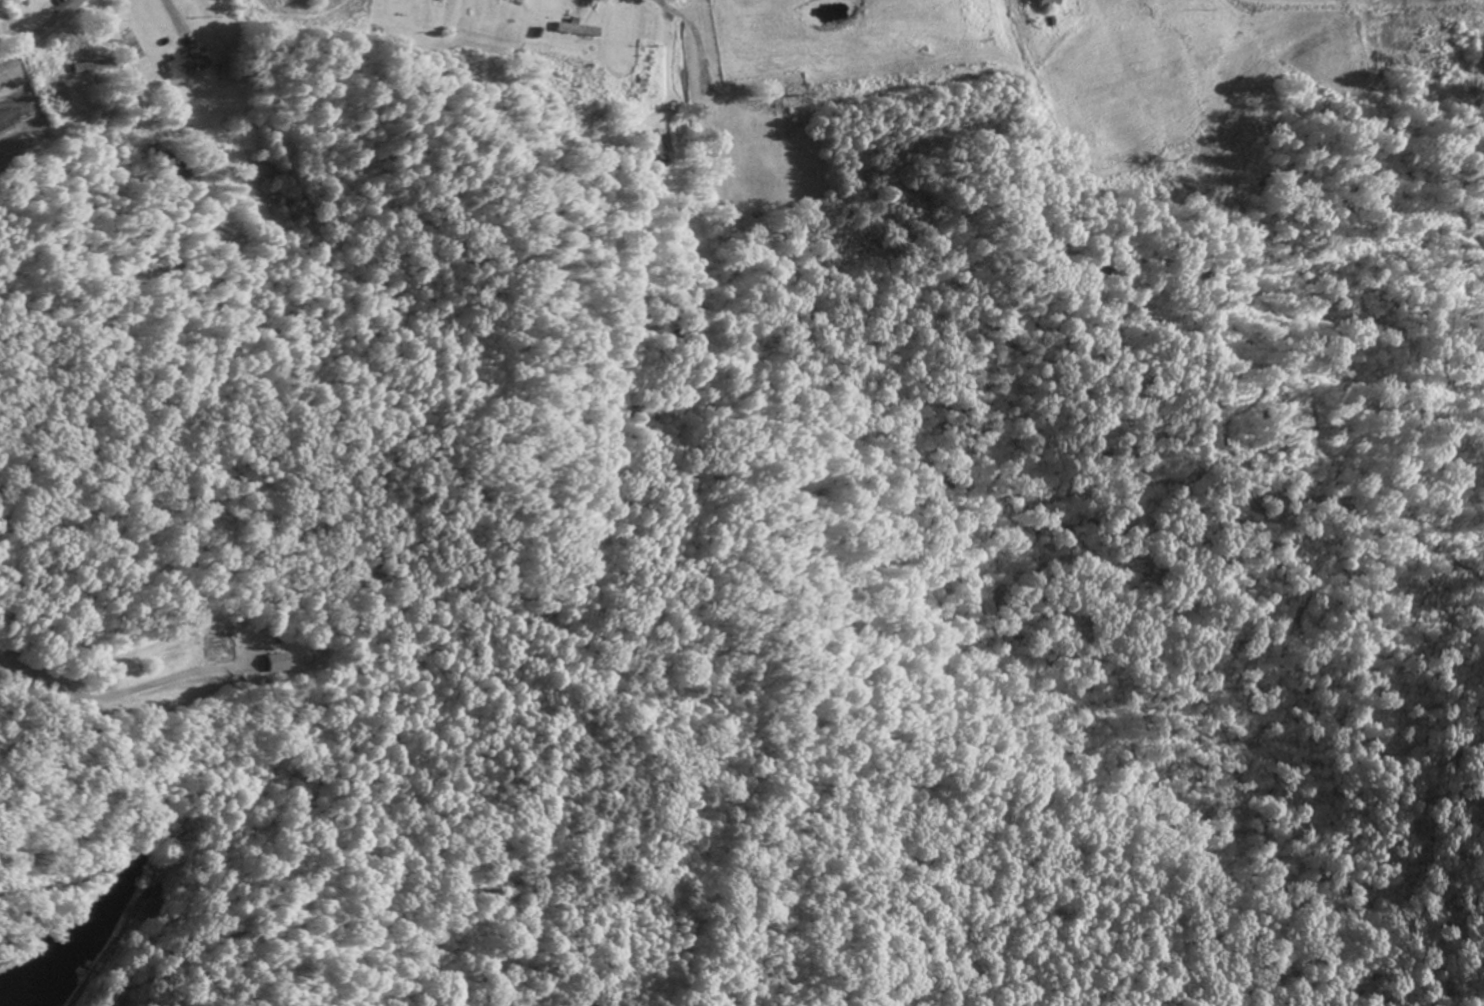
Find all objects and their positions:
road: (40, 28)
building: (572, 32)
building: (181, 65)
building: (83, 69)
building: (268, 666)
road: (127, 696)

